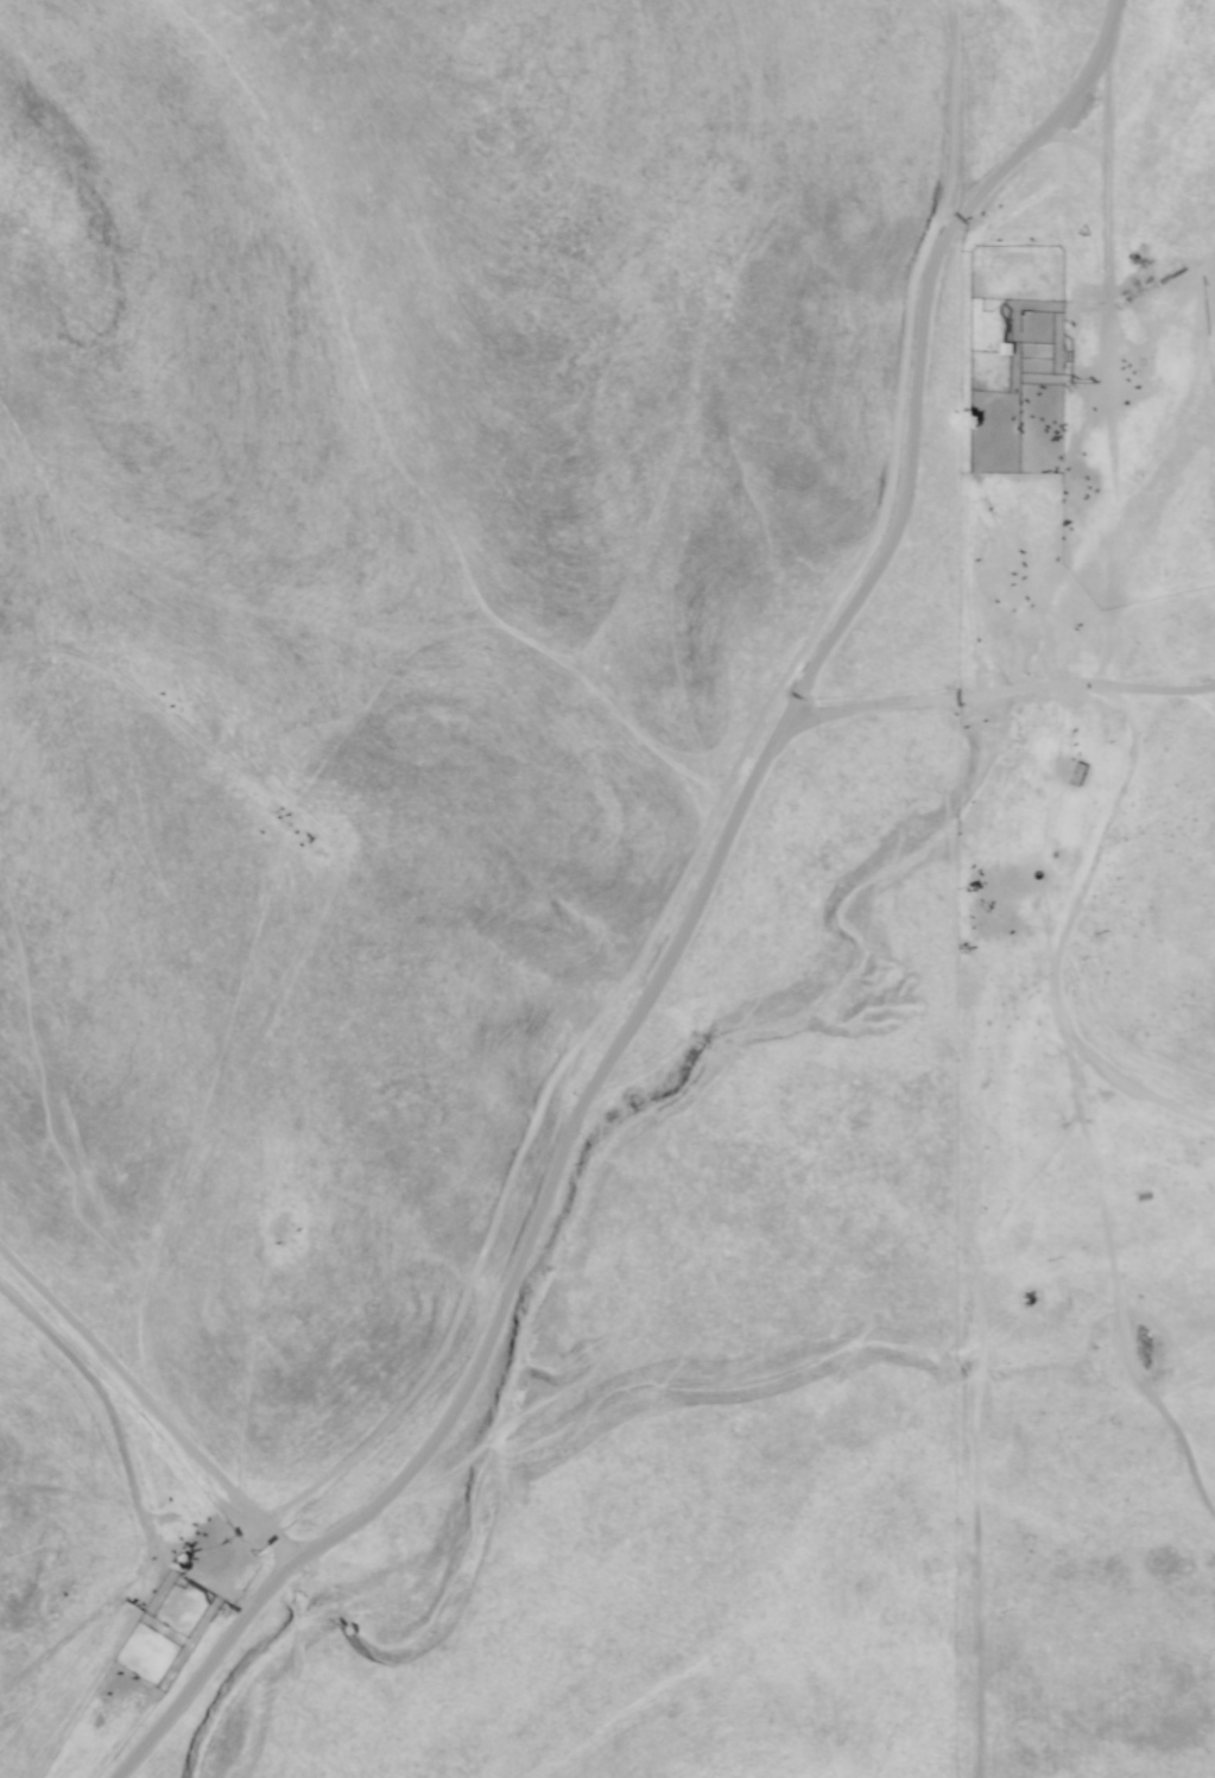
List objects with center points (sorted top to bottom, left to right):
road: (1063, 643)
road: (1112, 692)
road: (523, 1182)
road: (795, 1321)
road: (25, 1618)

